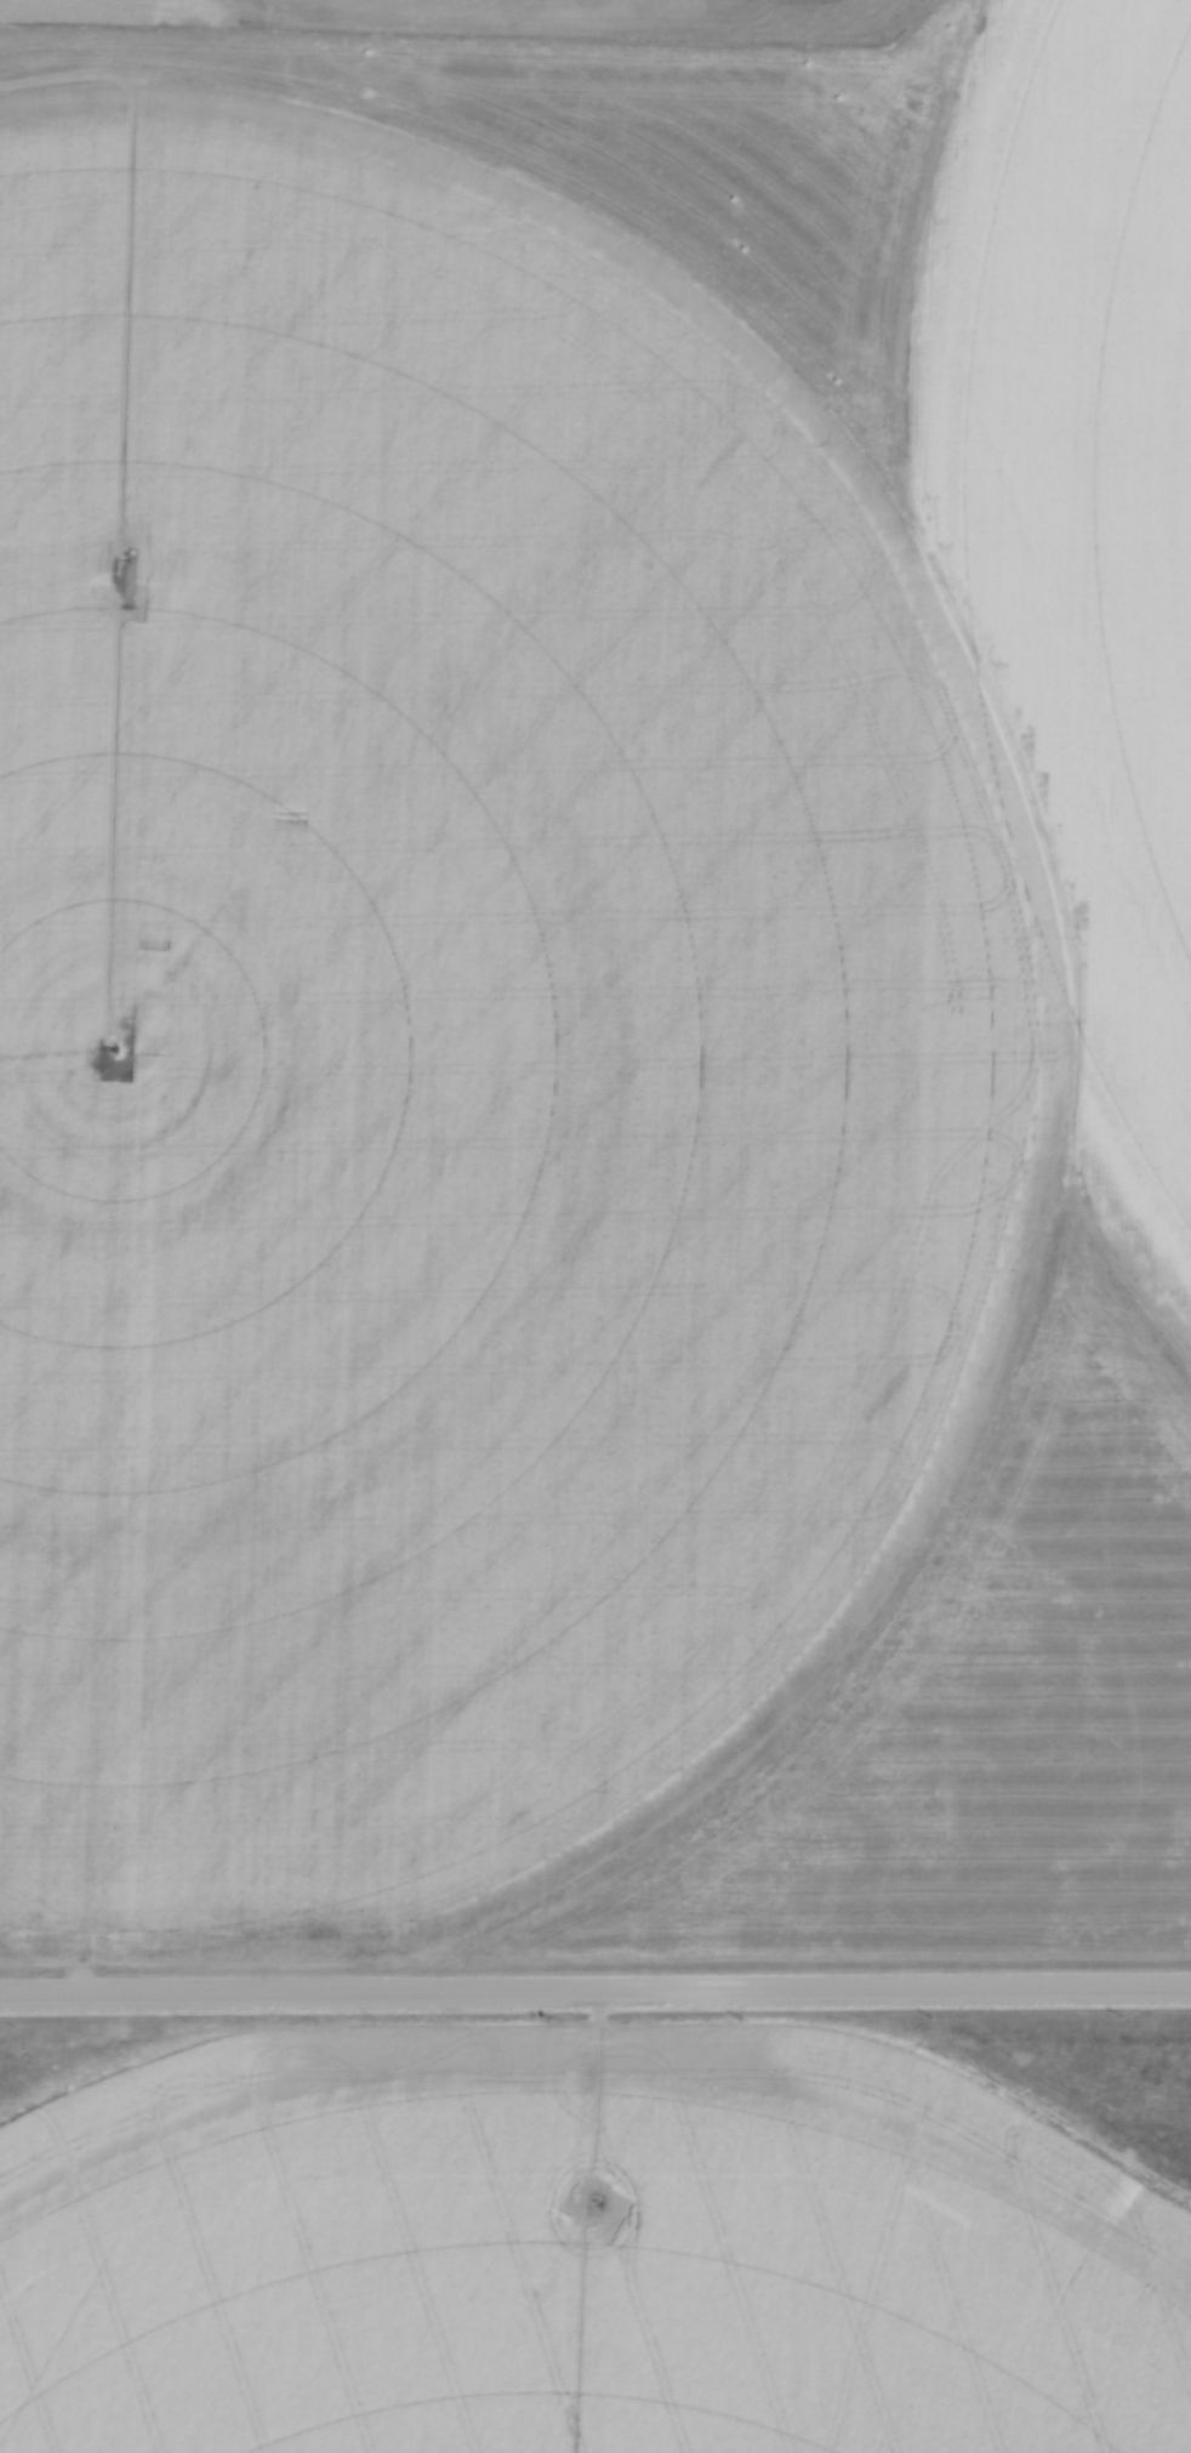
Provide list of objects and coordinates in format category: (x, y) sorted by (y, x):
building: (896, 200)
road: (595, 1987)

